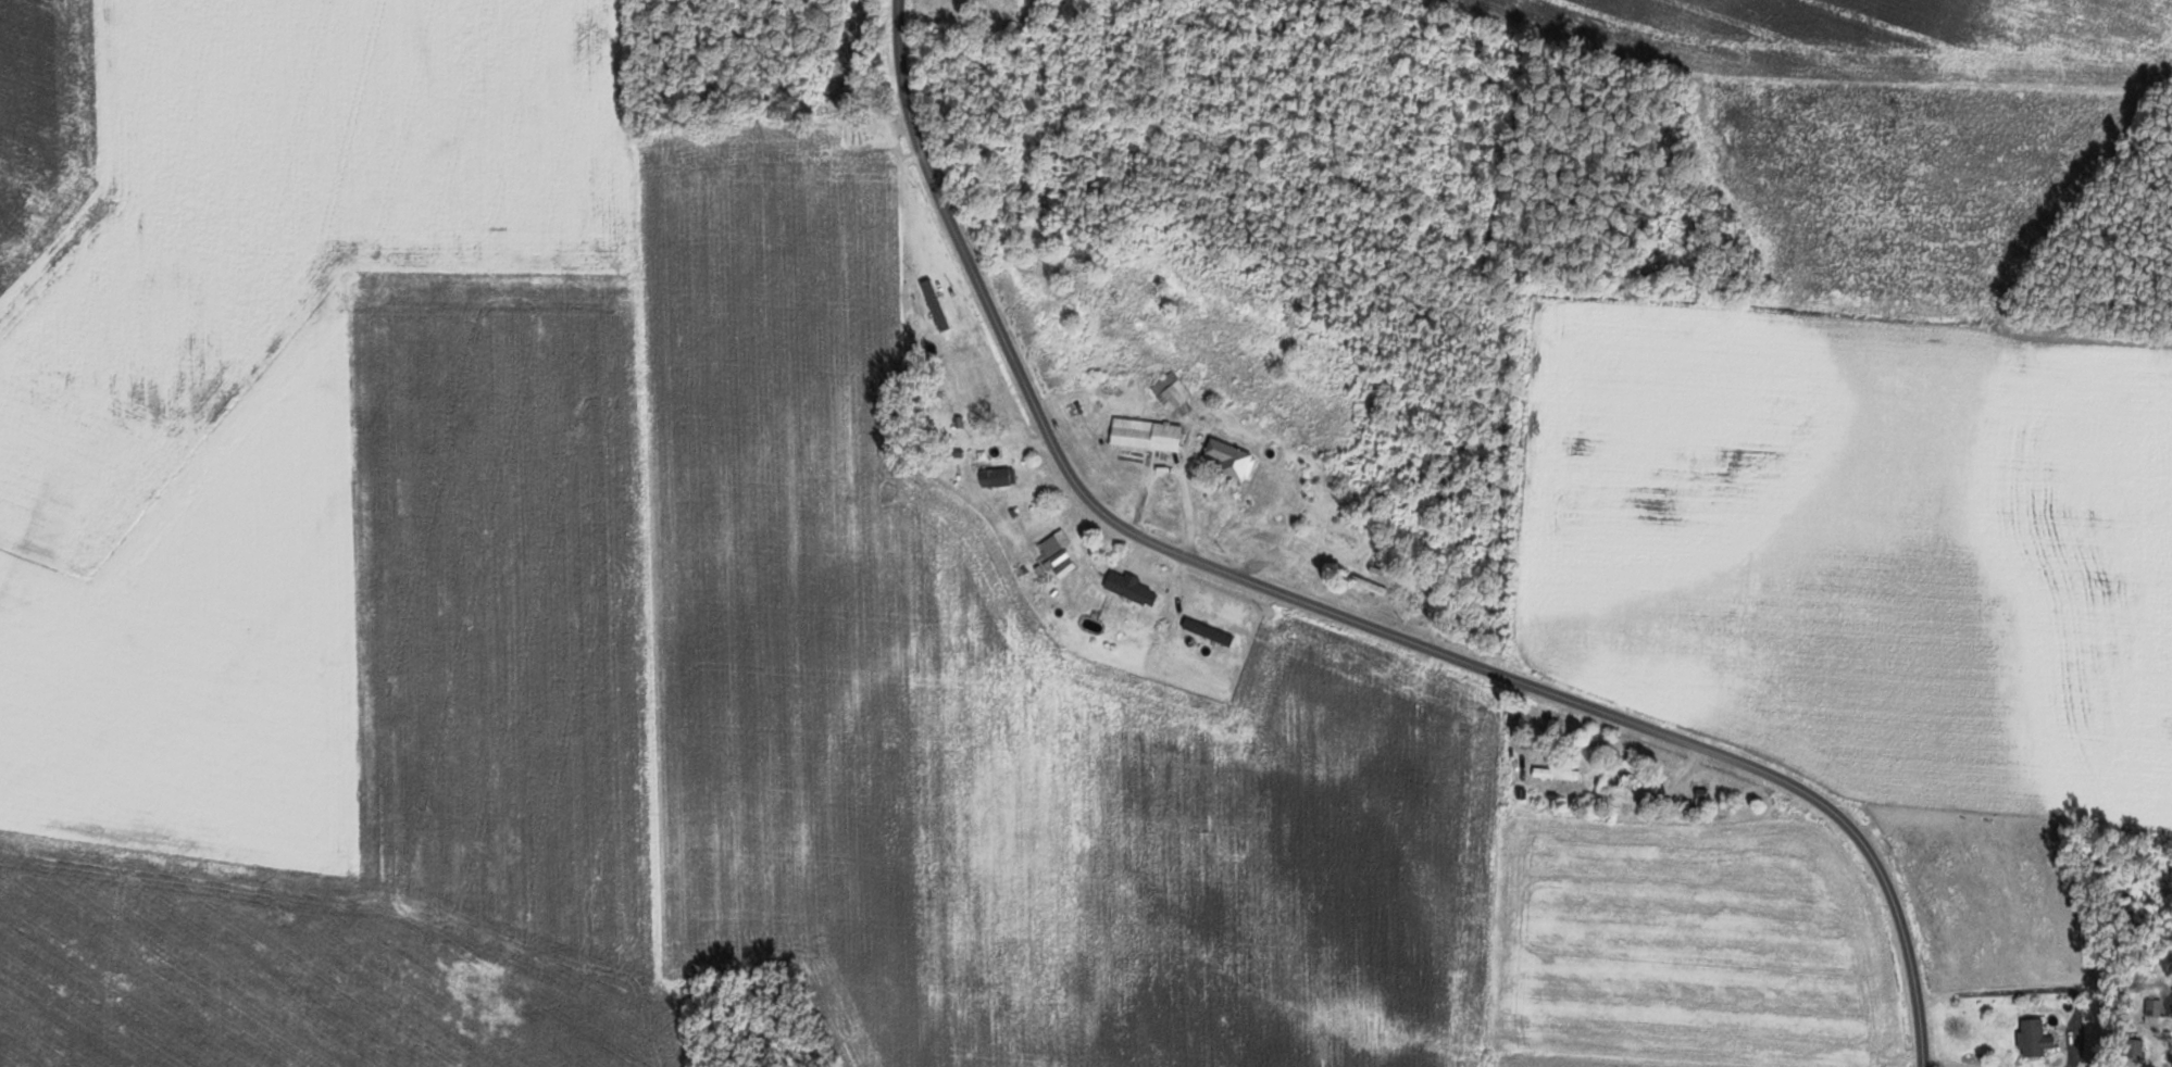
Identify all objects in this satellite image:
building: (969, 1)
crop: (1883, 38)
crop: (1907, 180)
building: (1173, 394)
building: (1147, 435)
building: (1233, 459)
building: (998, 476)
building: (1054, 547)
crop: (1863, 550)
building: (1369, 585)
building: (1132, 588)
road: (1339, 611)
building: (1557, 774)
building: (1702, 796)
crop: (1997, 904)
building: (2154, 1007)
building: (2035, 1039)
building: (2136, 1049)

